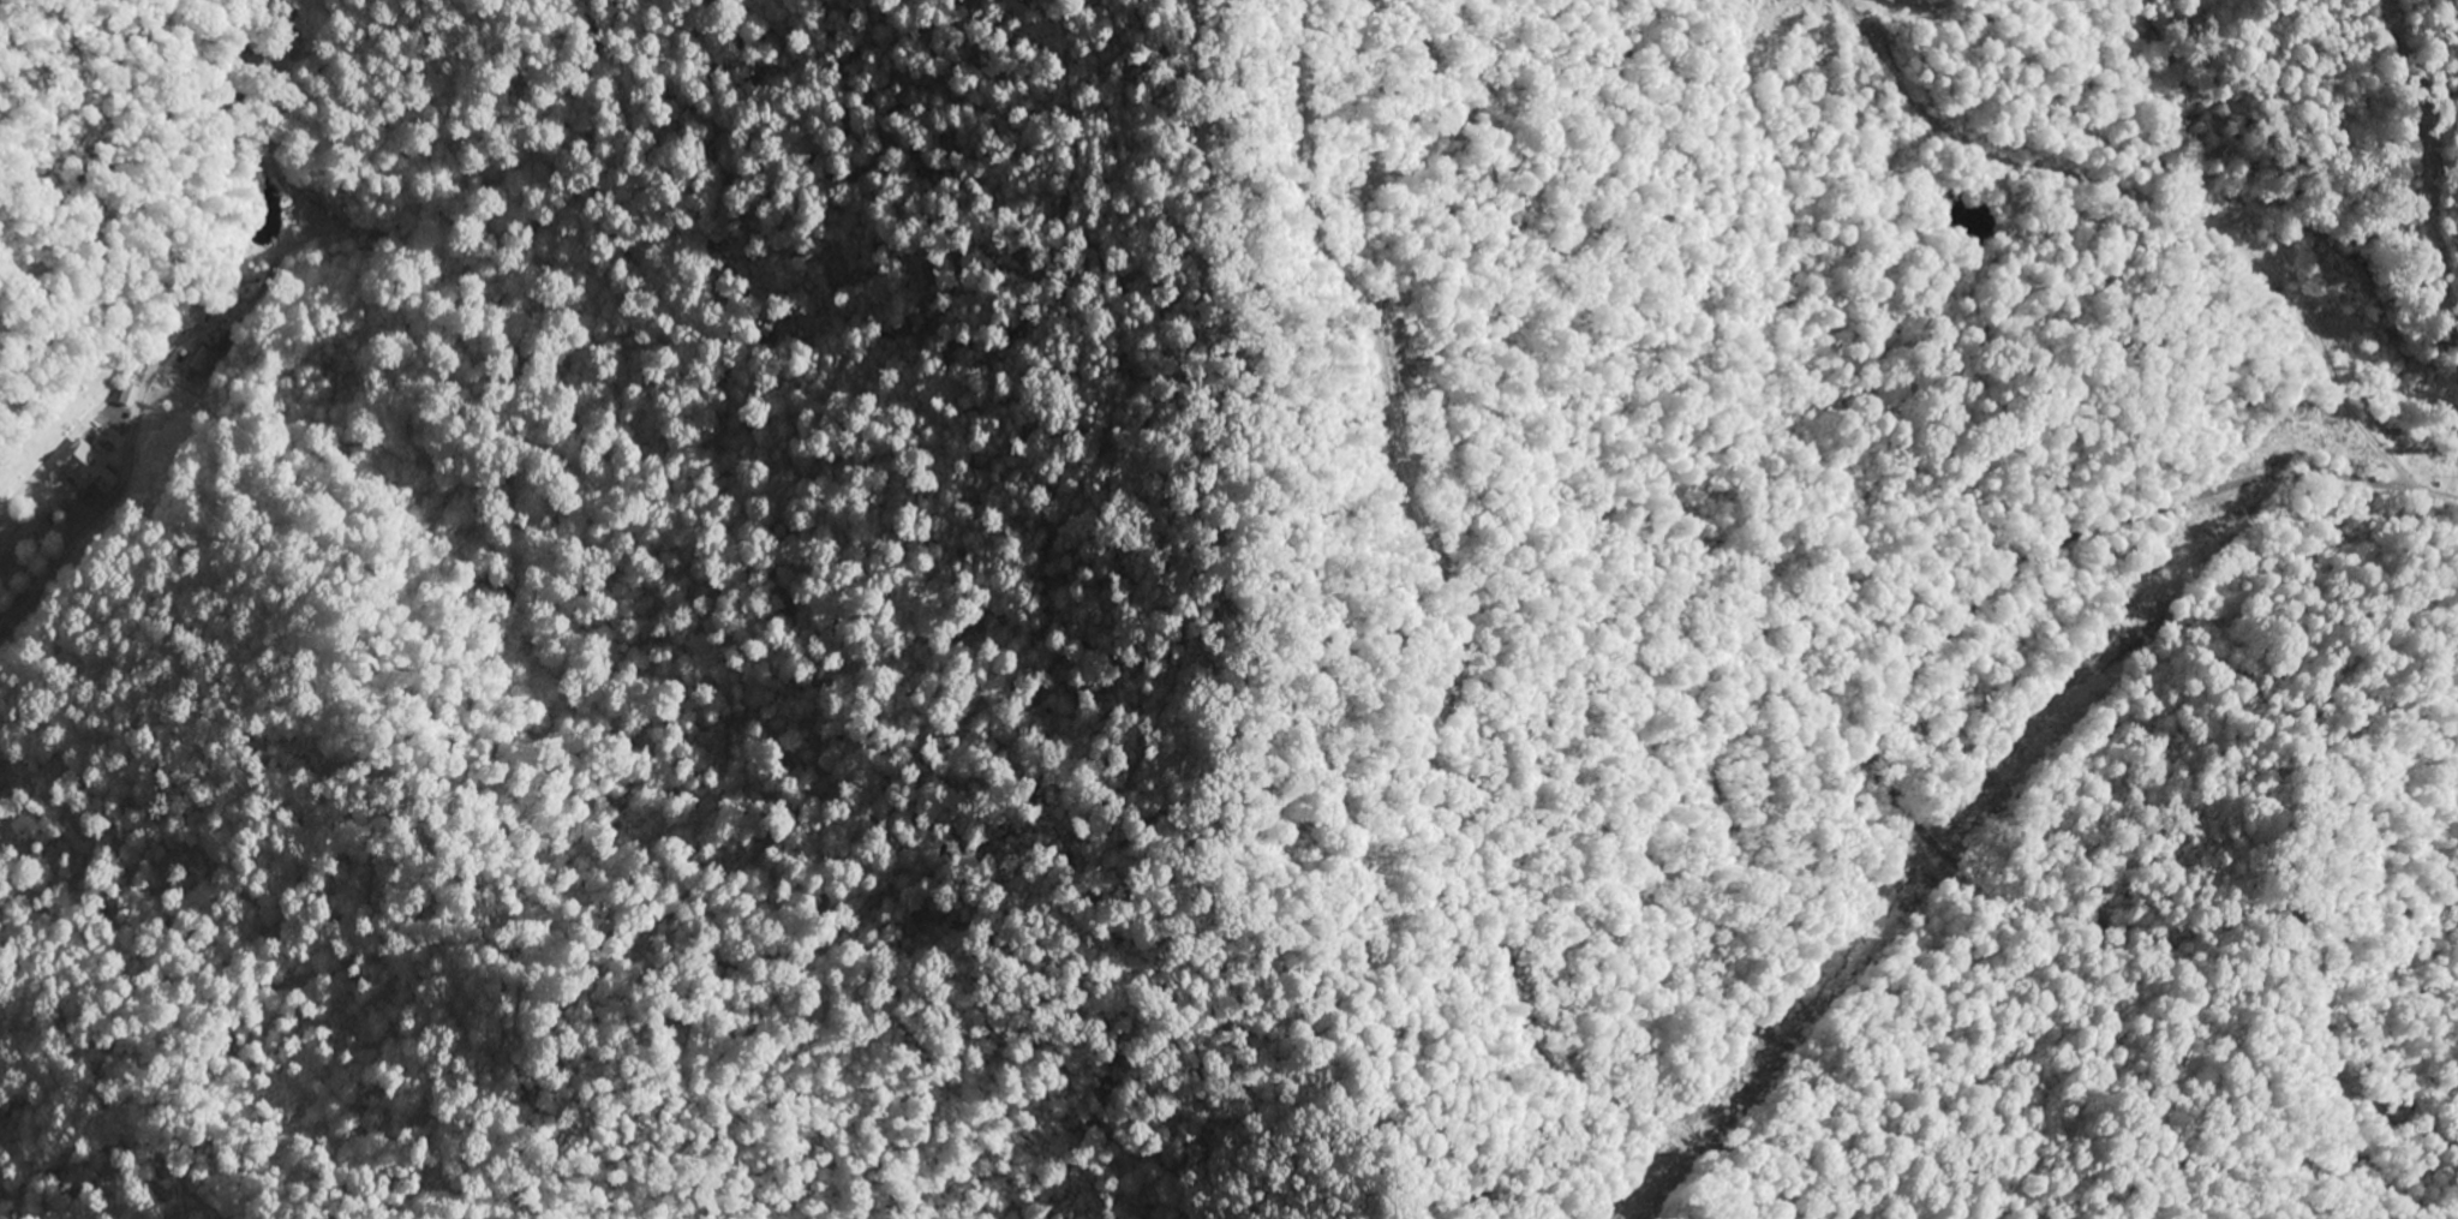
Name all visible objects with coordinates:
building: (232, 333)
building: (203, 361)
building: (86, 468)

